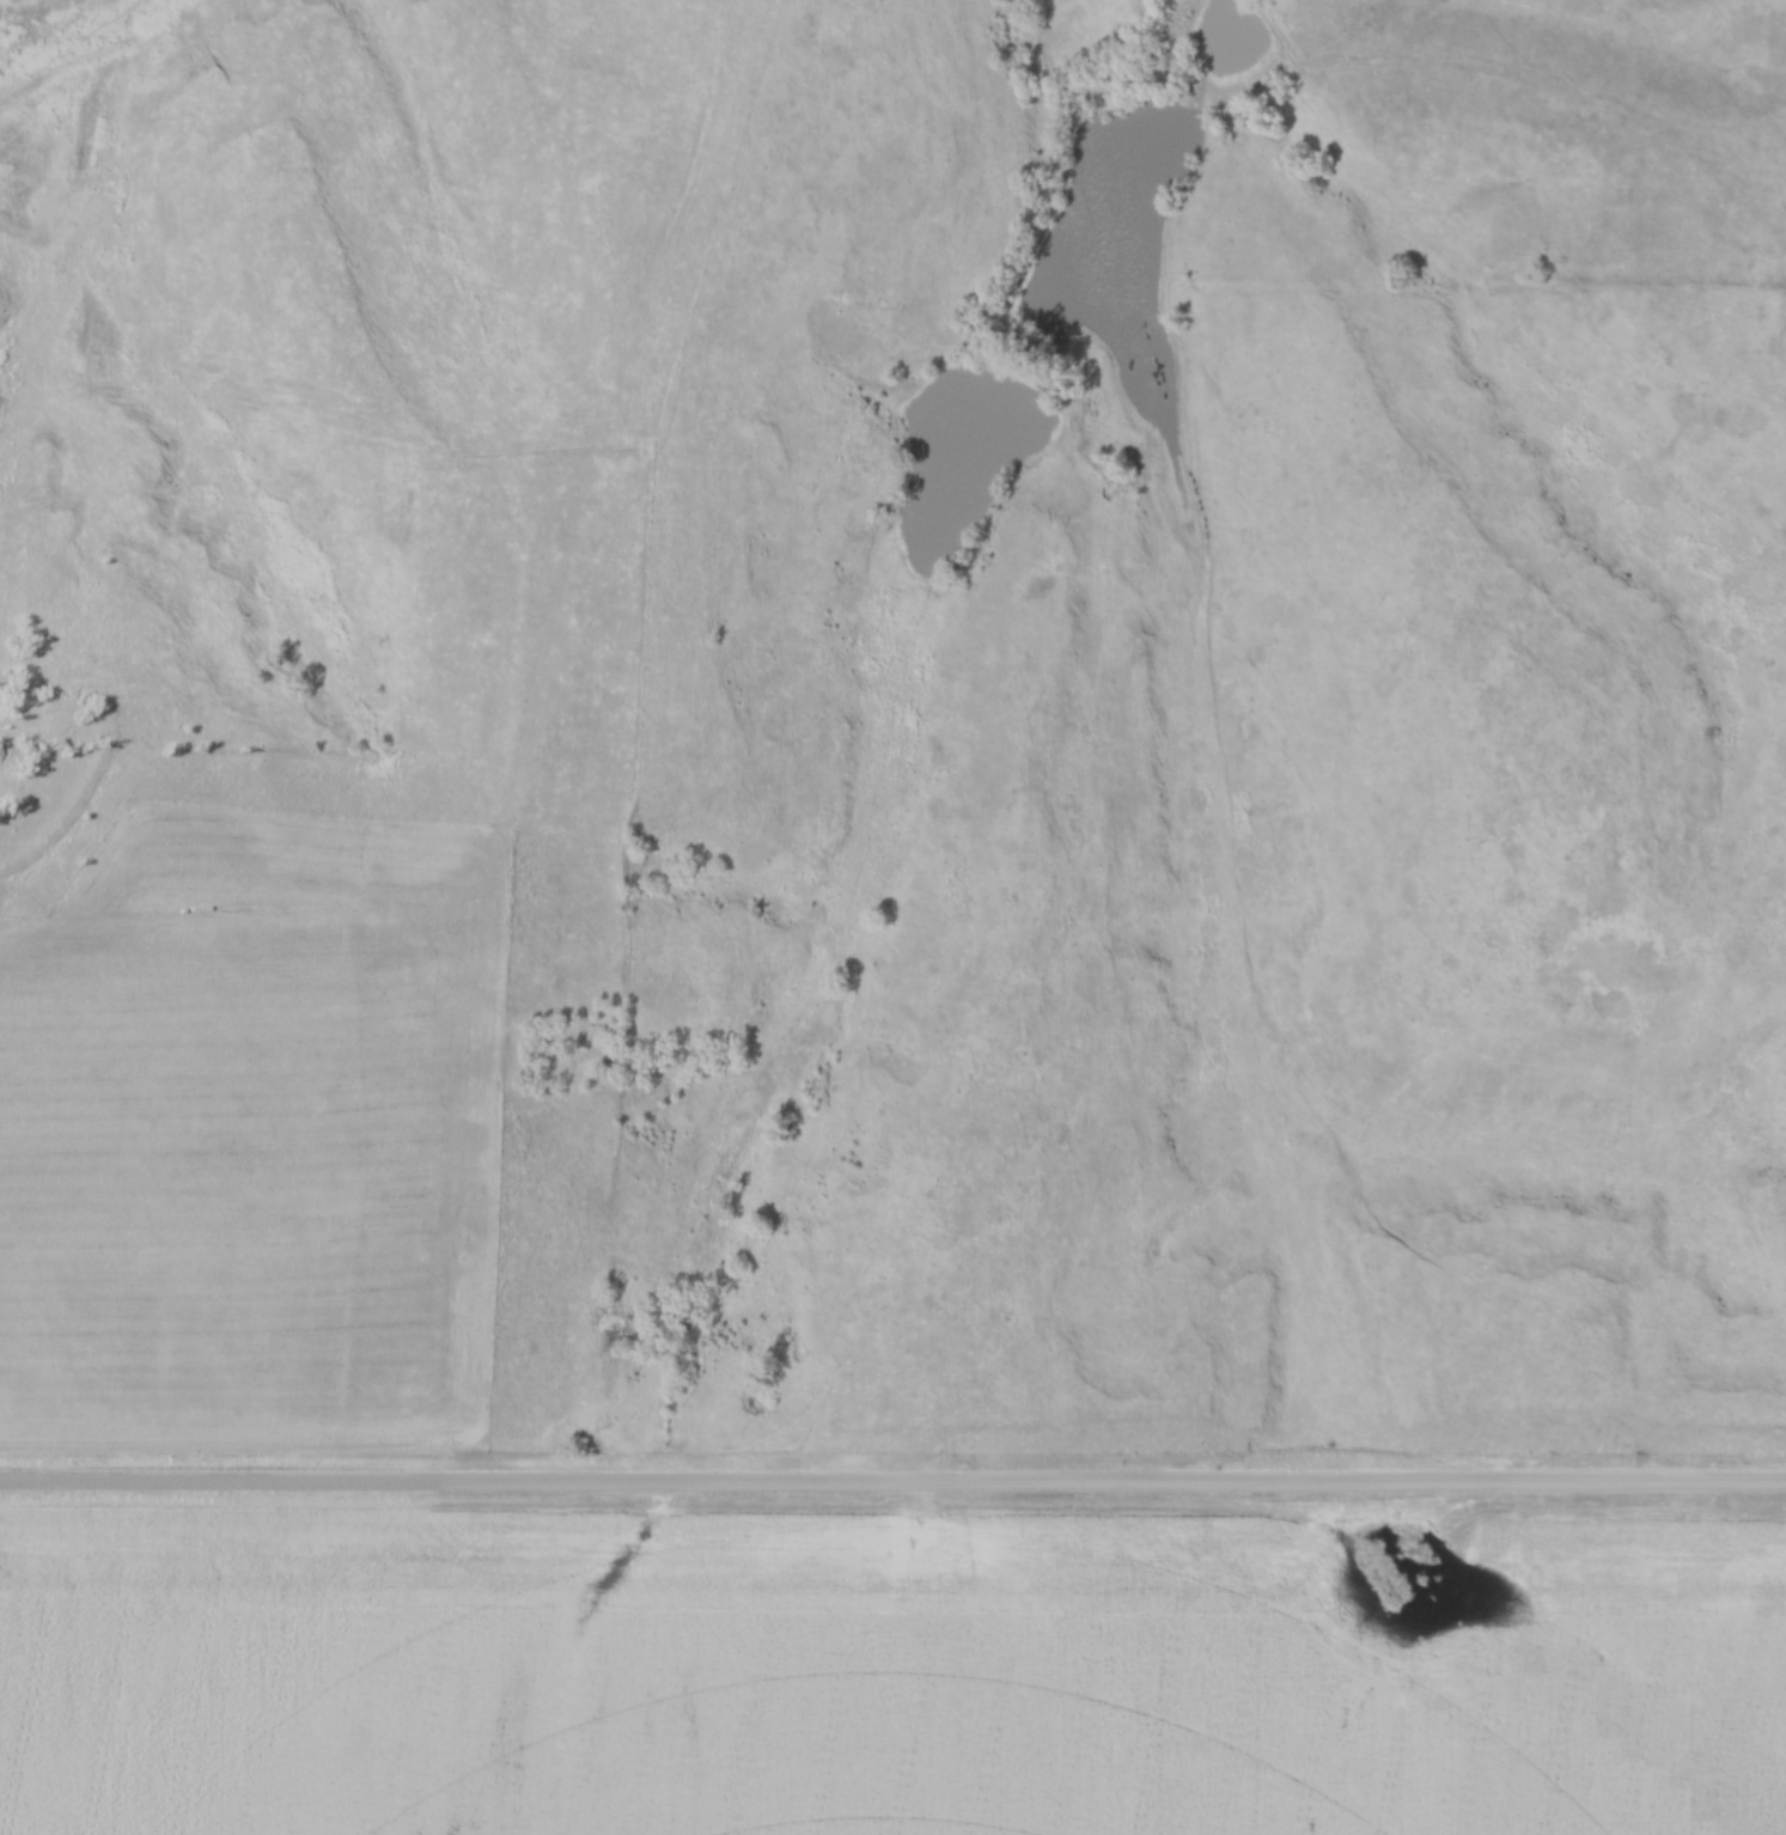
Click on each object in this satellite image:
road: (892, 1487)

